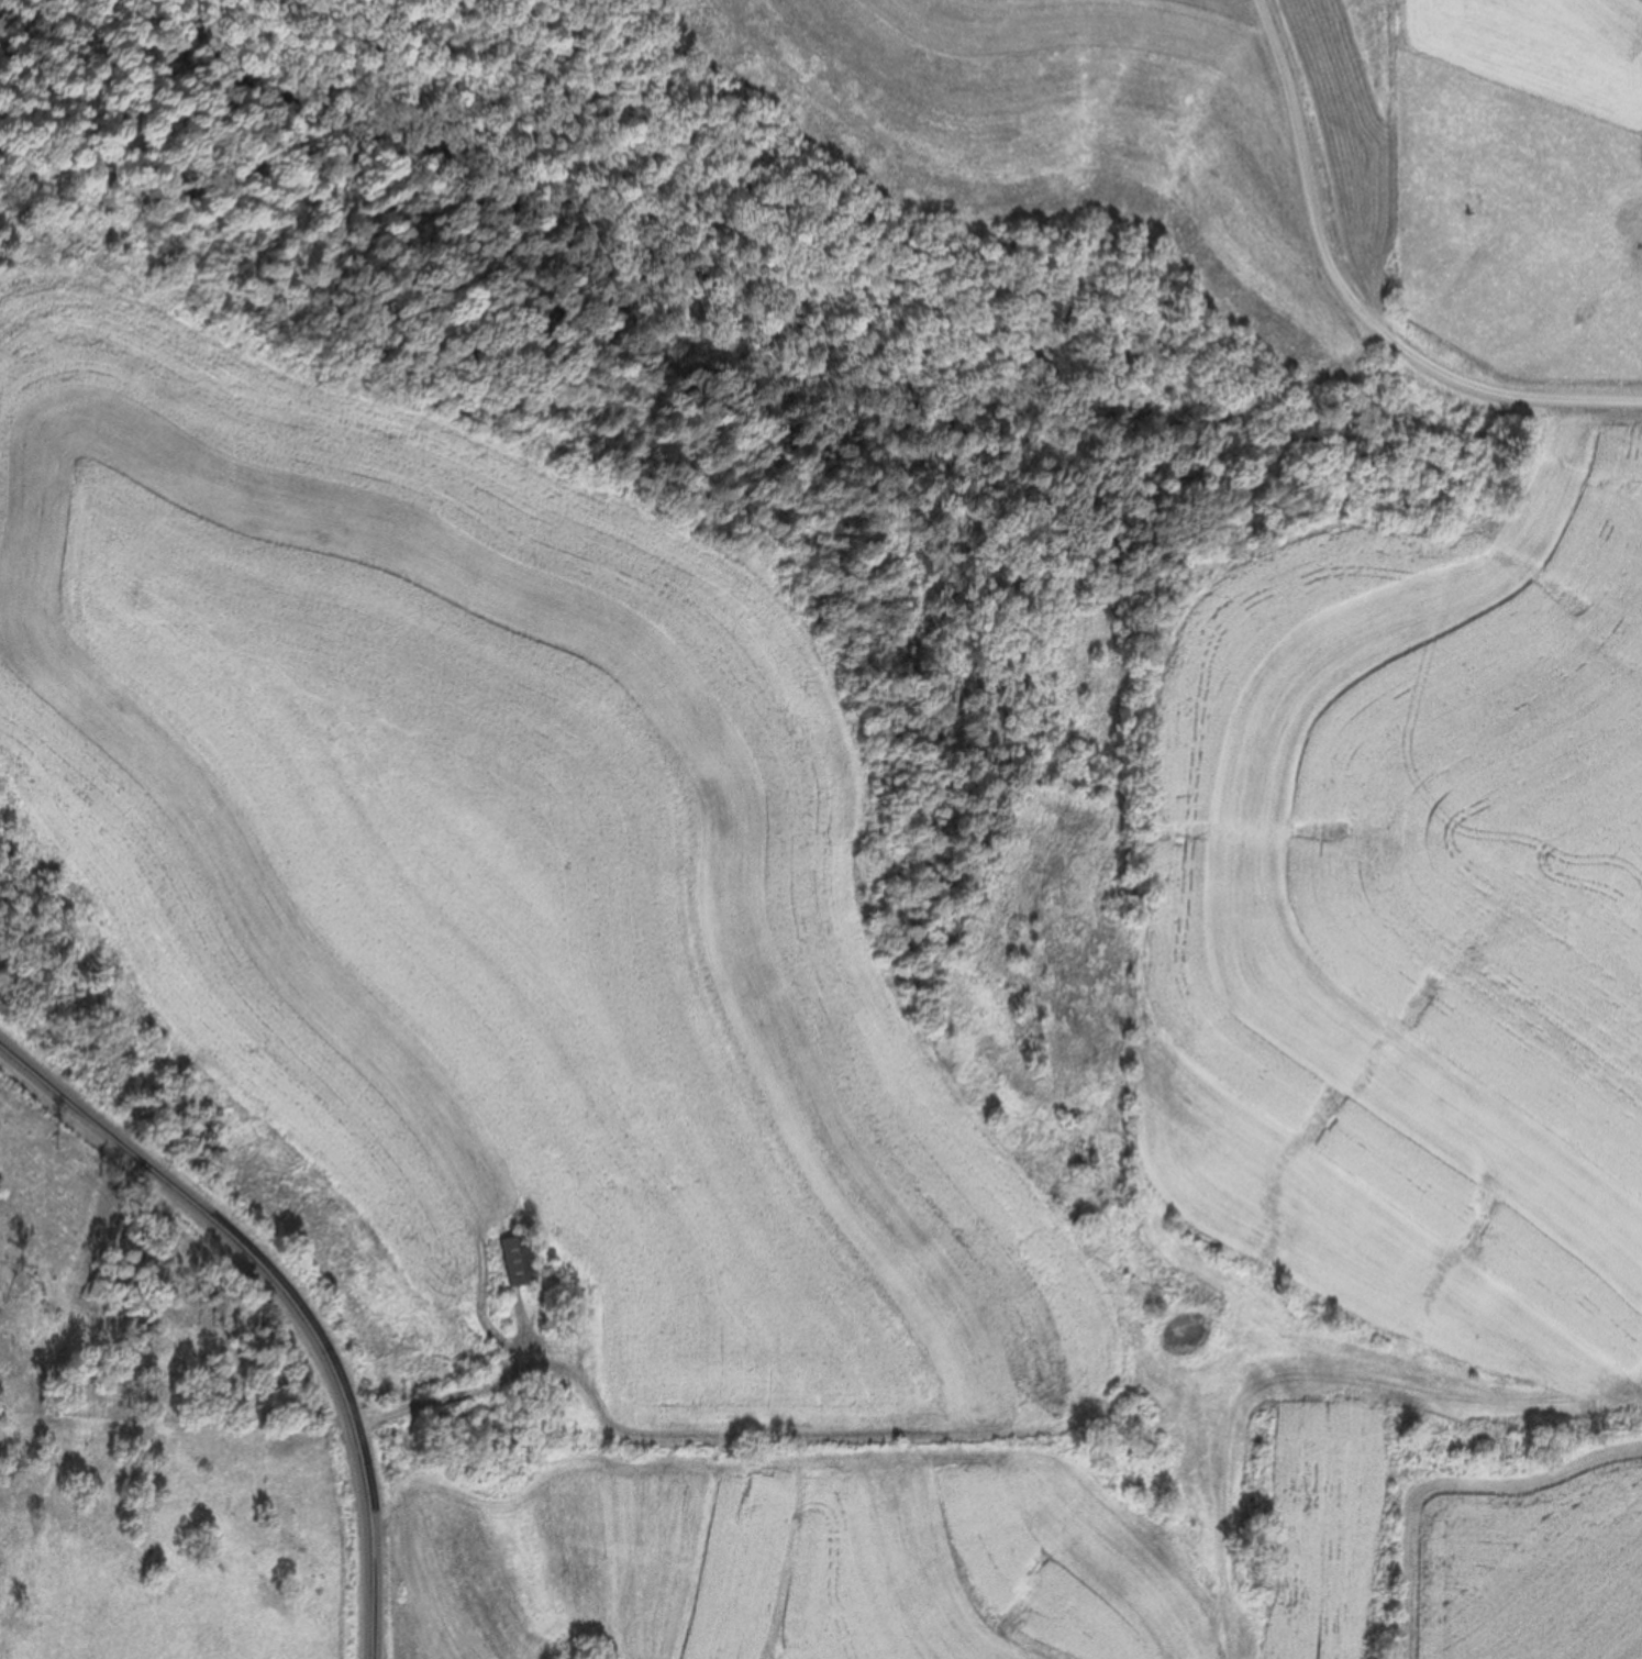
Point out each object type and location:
road: (1346, 309)
building: (514, 1259)
road: (280, 1302)
road: (426, 1401)

